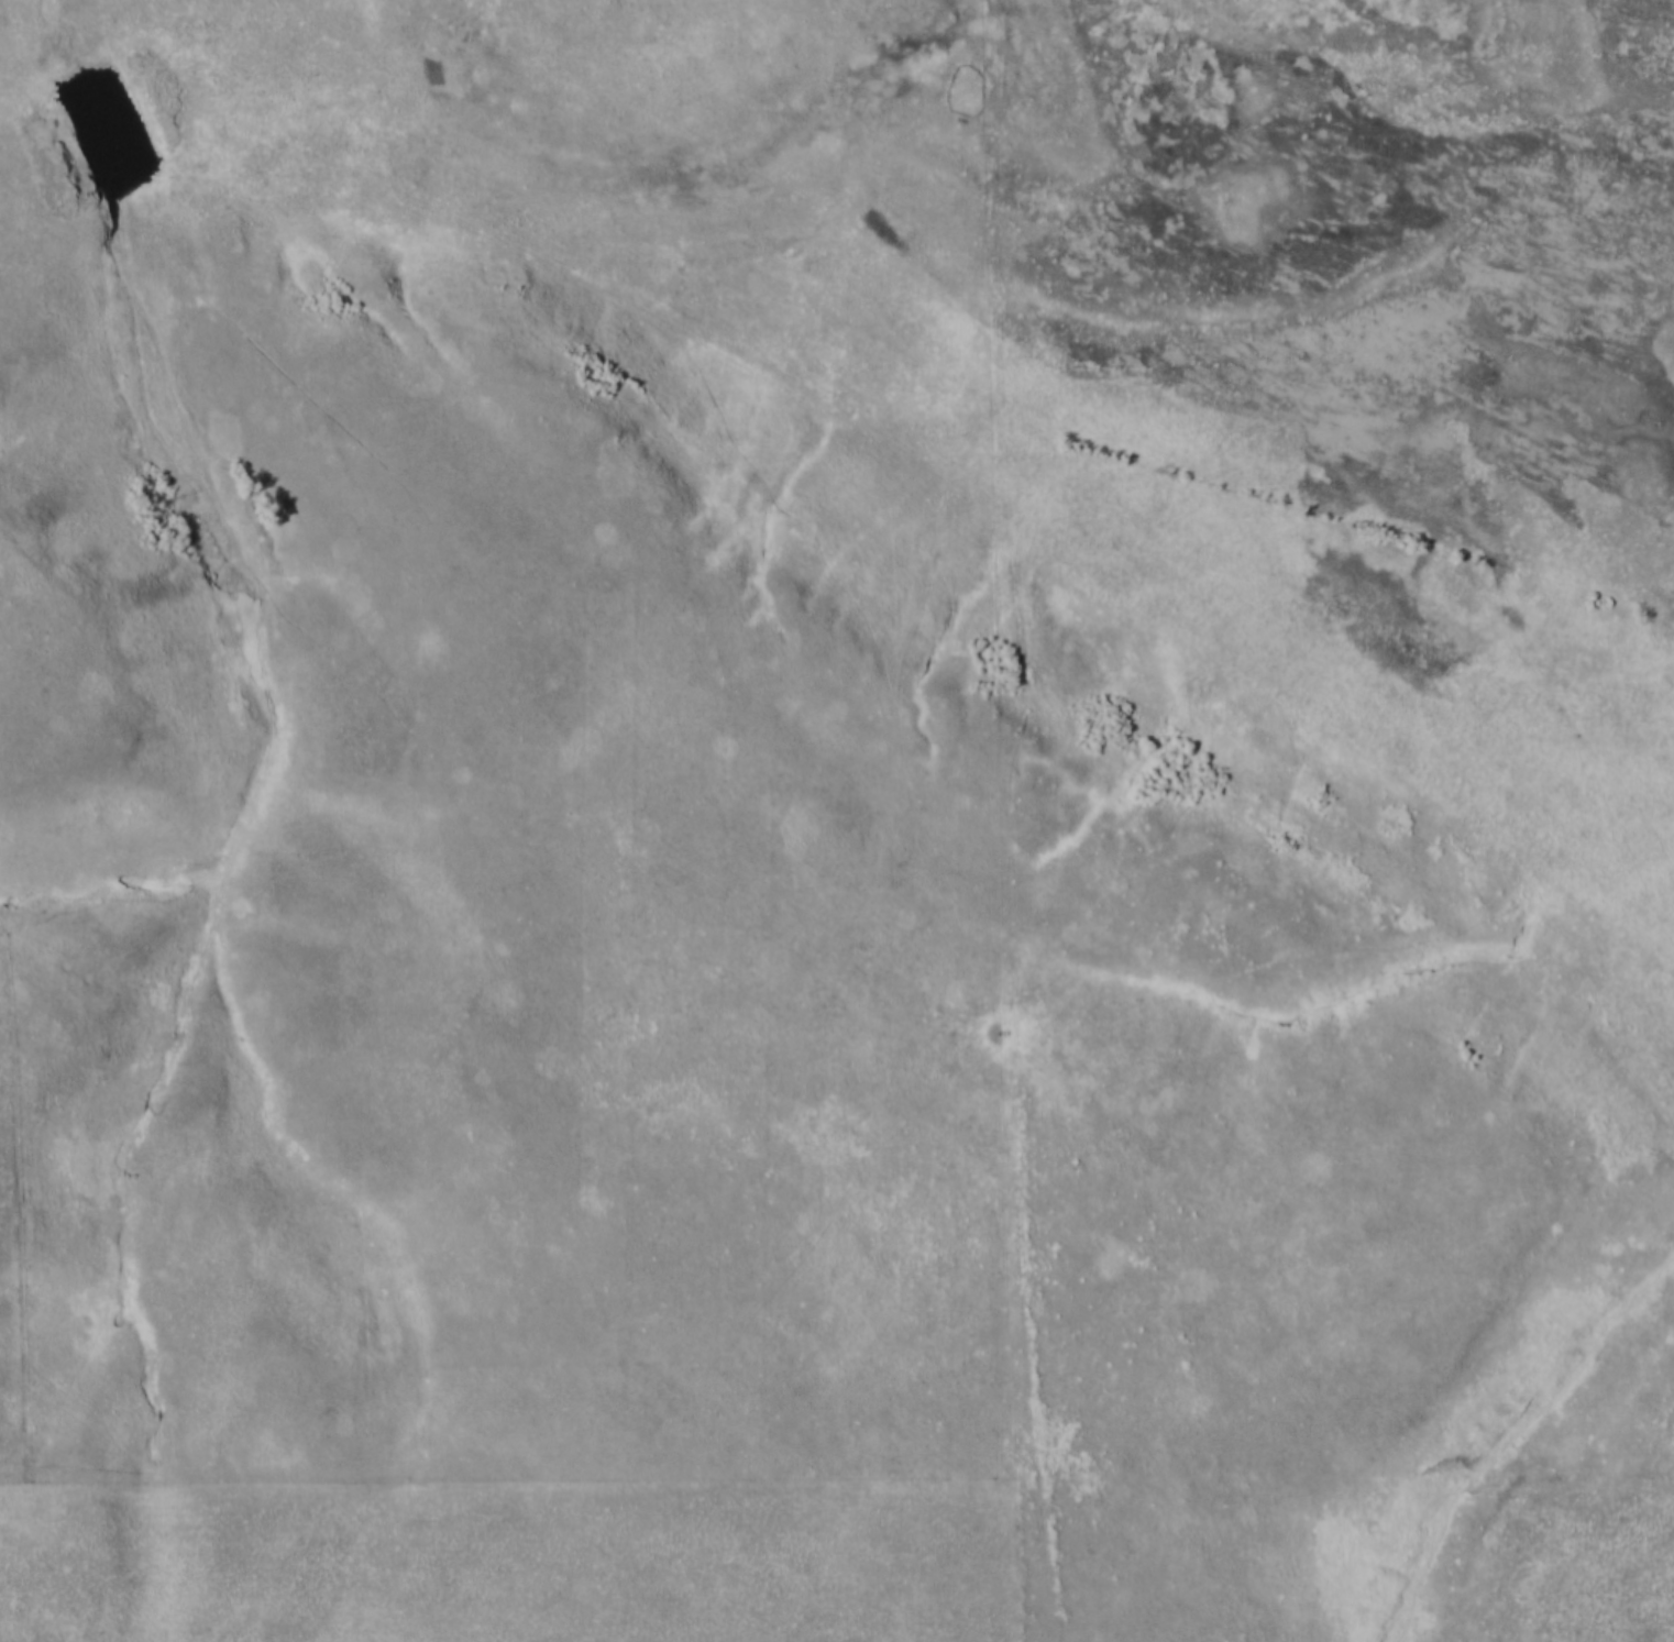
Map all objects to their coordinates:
road: (478, 565)

